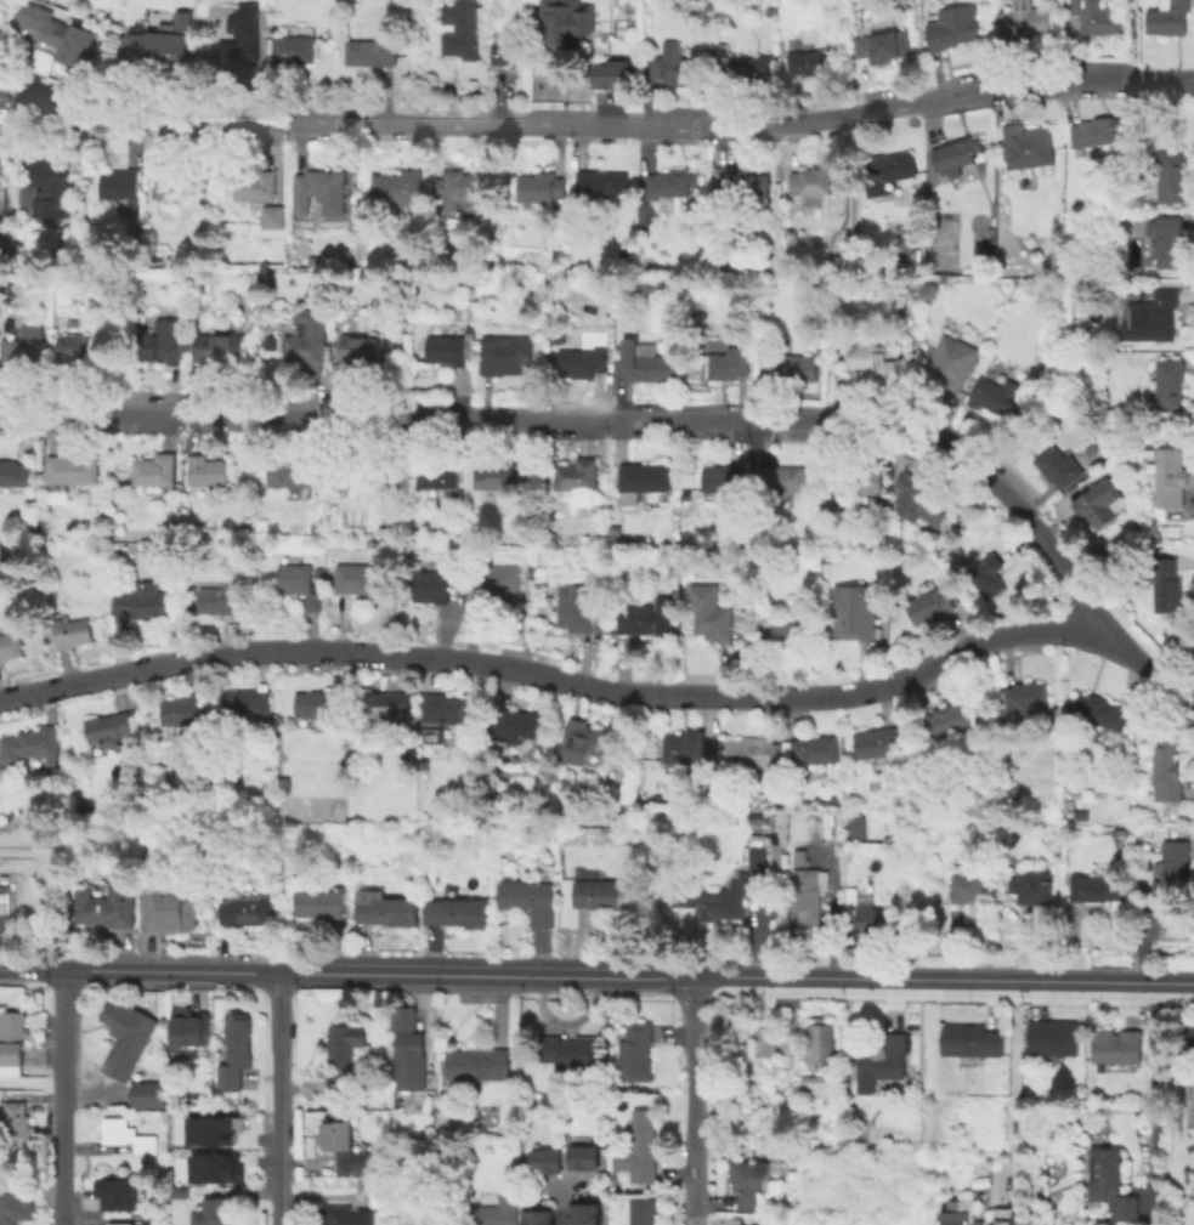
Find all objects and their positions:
building: (1097, 17)
building: (1167, 17)
building: (565, 21)
building: (1023, 21)
building: (952, 27)
building: (462, 29)
building: (60, 38)
building: (158, 45)
building: (242, 46)
building: (883, 46)
building: (295, 49)
building: (373, 50)
building: (505, 53)
building: (811, 61)
building: (677, 64)
building: (749, 69)
building: (612, 72)
road: (595, 127)
building: (1096, 131)
building: (1028, 147)
building: (956, 152)
building: (885, 171)
building: (1168, 175)
building: (52, 176)
building: (815, 180)
building: (180, 181)
building: (605, 185)
building: (746, 185)
building: (259, 186)
building: (403, 186)
building: (672, 186)
building: (121, 187)
building: (319, 187)
building: (542, 187)
building: (460, 189)
building: (276, 216)
building: (1167, 239)
building: (980, 251)
building: (560, 254)
building: (1151, 314)
building: (305, 338)
building: (746, 339)
building: (164, 342)
building: (78, 346)
building: (223, 347)
building: (358, 347)
building: (452, 347)
building: (24, 348)
building: (505, 355)
building: (582, 358)
building: (871, 359)
building: (728, 362)
building: (951, 362)
building: (644, 363)
building: (790, 365)
building: (1170, 382)
building: (991, 392)
road: (598, 419)
building: (1058, 466)
building: (75, 469)
building: (157, 469)
building: (209, 470)
building: (293, 472)
building: (351, 472)
building: (16, 473)
building: (440, 473)
building: (577, 473)
building: (498, 476)
building: (722, 476)
building: (1166, 476)
building: (644, 477)
building: (780, 477)
building: (864, 478)
building: (919, 498)
building: (1094, 507)
building: (547, 537)
building: (825, 557)
building: (530, 569)
building: (989, 575)
building: (353, 578)
building: (299, 583)
building: (1167, 584)
building: (430, 585)
building: (493, 590)
building: (219, 599)
building: (145, 600)
building: (929, 605)
building: (582, 611)
building: (708, 611)
building: (850, 612)
building: (645, 618)
building: (72, 631)
building: (779, 634)
building: (11, 645)
road: (610, 690)
building: (1029, 699)
building: (318, 703)
building: (245, 704)
building: (389, 705)
building: (442, 709)
building: (182, 710)
building: (1107, 714)
building: (950, 719)
building: (306, 722)
building: (515, 726)
building: (109, 727)
building: (583, 737)
building: (877, 742)
building: (30, 744)
building: (689, 747)
building: (814, 750)
building: (749, 754)
building: (1167, 769)
building: (281, 782)
building: (853, 827)
building: (856, 855)
building: (1173, 867)
building: (1035, 884)
building: (732, 885)
building: (967, 886)
building: (1097, 887)
building: (808, 891)
building: (600, 892)
building: (530, 900)
building: (319, 902)
building: (107, 906)
building: (5, 907)
building: (385, 908)
building: (861, 908)
building: (168, 909)
building: (245, 911)
building: (458, 912)
building: (1177, 930)
road: (1073, 949)
road: (1026, 952)
road: (32, 969)
road: (378, 975)
road: (941, 983)
road: (1192, 987)
building: (380, 999)
building: (404, 1019)
road: (1171, 1022)
building: (191, 1027)
building: (1053, 1037)
building: (125, 1038)
building: (764, 1039)
building: (971, 1039)
building: (12, 1043)
building: (345, 1043)
building: (817, 1043)
building: (1116, 1047)
building: (234, 1050)
building: (570, 1051)
building: (635, 1053)
building: (409, 1061)
building: (879, 1061)
building: (477, 1064)
building: (815, 1084)
building: (335, 1088)
road: (1012, 1093)
building: (149, 1095)
road: (61, 1098)
road: (279, 1099)
road: (1151, 1100)
building: (1189, 1100)
road: (695, 1102)
building: (16, 1124)
building: (213, 1129)
building: (128, 1135)
building: (344, 1146)
building: (639, 1155)
building: (587, 1159)
building: (547, 1163)
building: (214, 1167)
building: (747, 1180)
building: (1108, 1183)
building: (117, 1195)
building: (379, 1196)
building: (15, 1207)
building: (498, 1210)
building: (211, 1212)
building: (588, 1213)
building: (957, 1213)
building: (346, 1215)
building: (541, 1215)
building: (1005, 1215)
building: (643, 1218)
building: (120, 1224)

